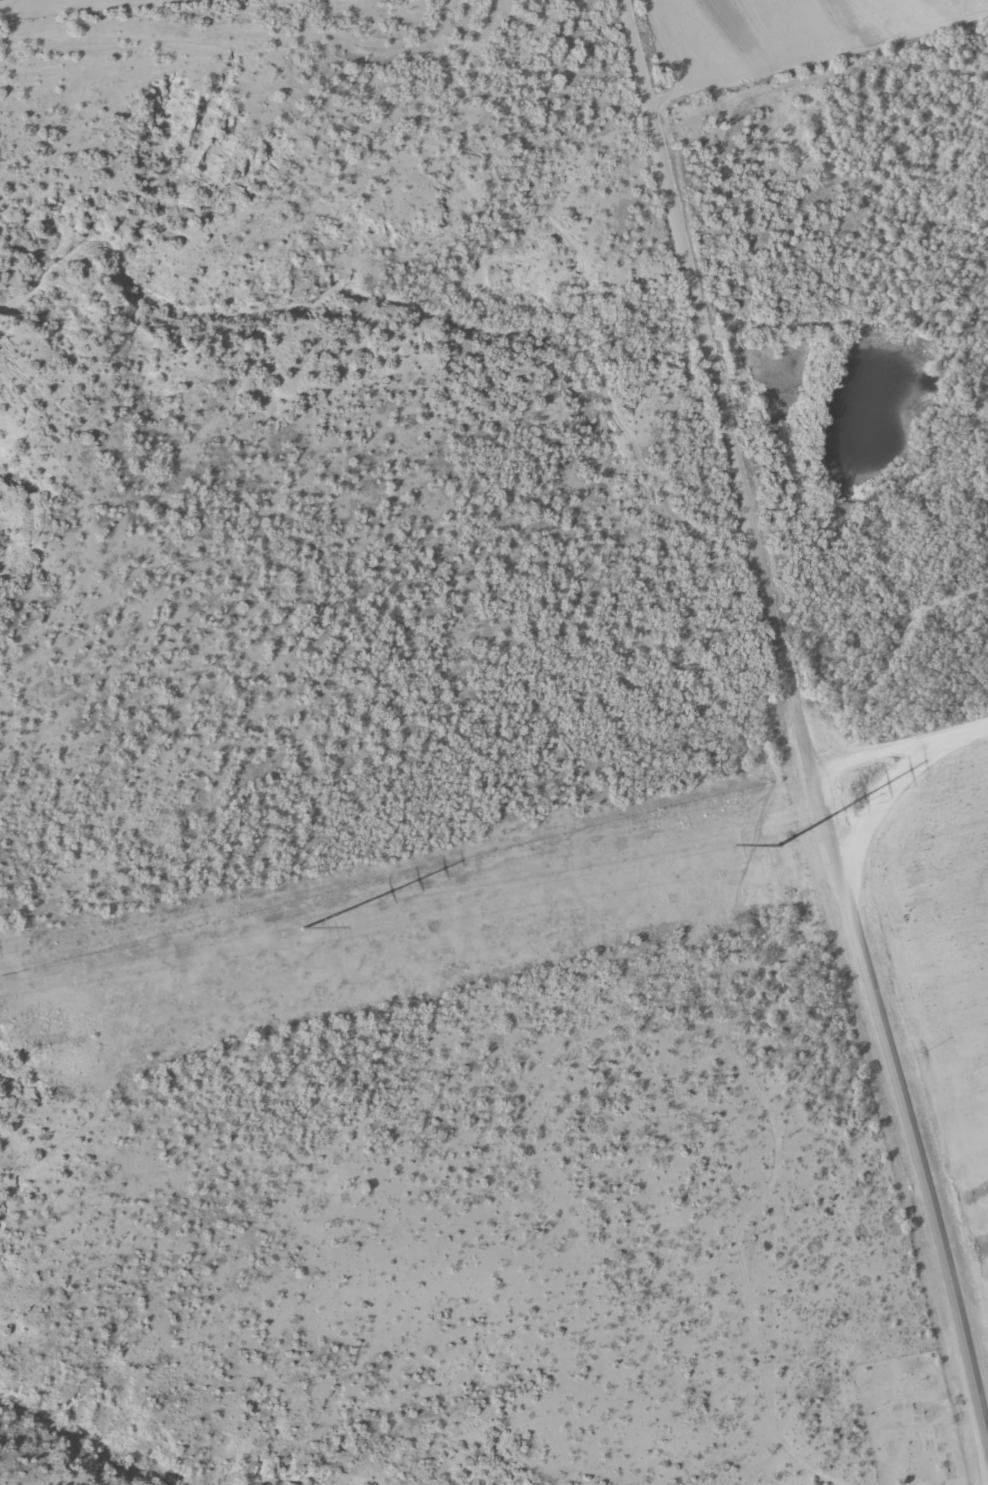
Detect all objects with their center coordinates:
road: (617, 76)
road: (813, 83)
road: (708, 465)
road: (898, 750)
power tower: (778, 845)
power tower: (305, 928)
road: (904, 1106)
park: (911, 1432)

